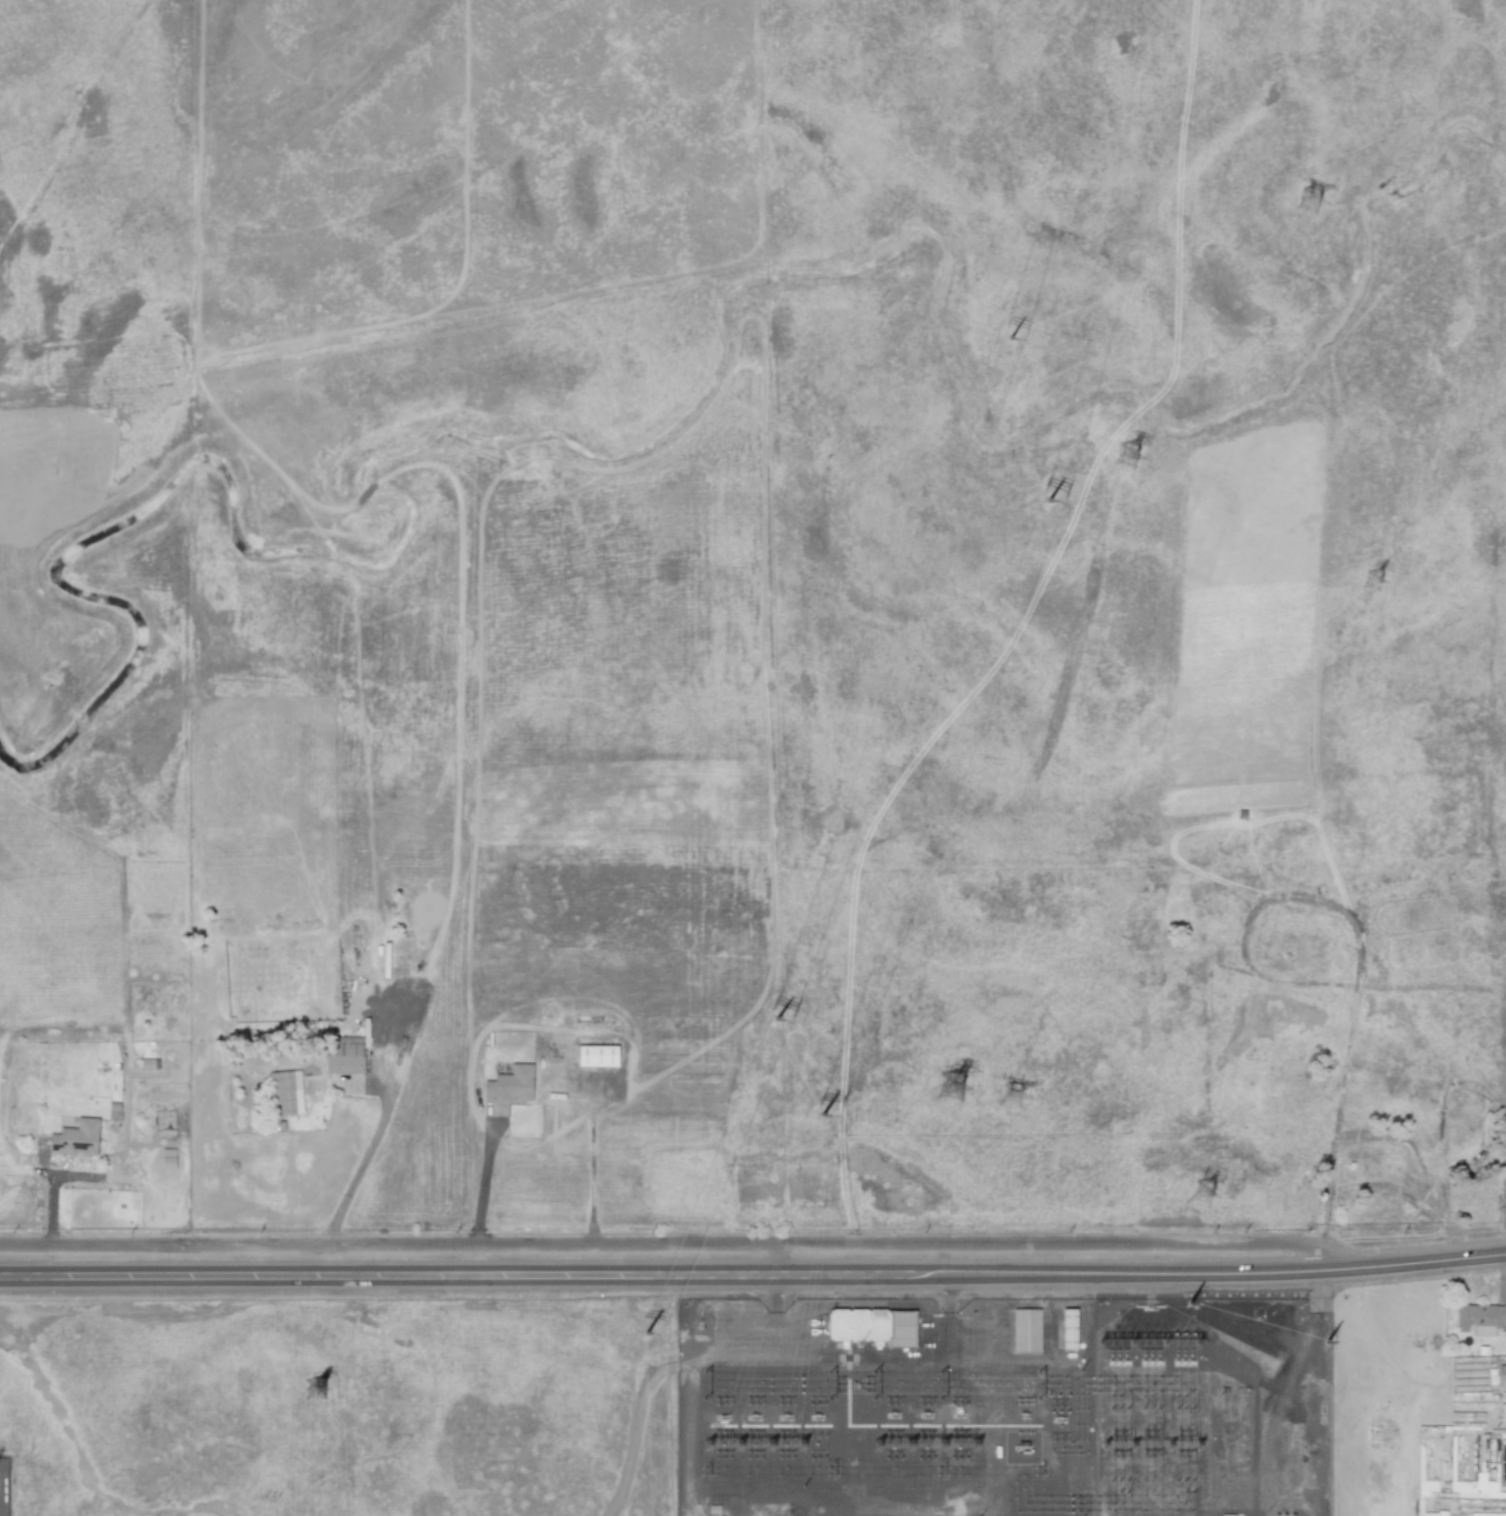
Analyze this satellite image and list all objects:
power tower: (1309, 203)
power tower: (1127, 457)
power tower: (1373, 583)
building: (344, 1055)
building: (597, 1056)
building: (510, 1084)
power tower: (951, 1089)
building: (285, 1091)
power tower: (1011, 1097)
building: (76, 1138)
road: (593, 1161)
road: (360, 1164)
road: (485, 1180)
power tower: (1203, 1196)
road: (677, 1243)
road: (753, 1276)
building: (1478, 1319)
building: (872, 1326)
building: (1068, 1328)
building: (1025, 1330)
power tower: (1118, 1344)
power tower: (1150, 1345)
power tower: (1183, 1345)
power tower: (316, 1391)
power substation: (889, 1408)
power substation: (1215, 1408)
building: (1503, 1412)
road: (637, 1429)
building: (1377, 1435)
power tower: (965, 1446)
power tower: (931, 1447)
power tower: (758, 1448)
power tower: (791, 1448)
power tower: (900, 1448)
power tower: (730, 1450)
building: (1469, 1487)

